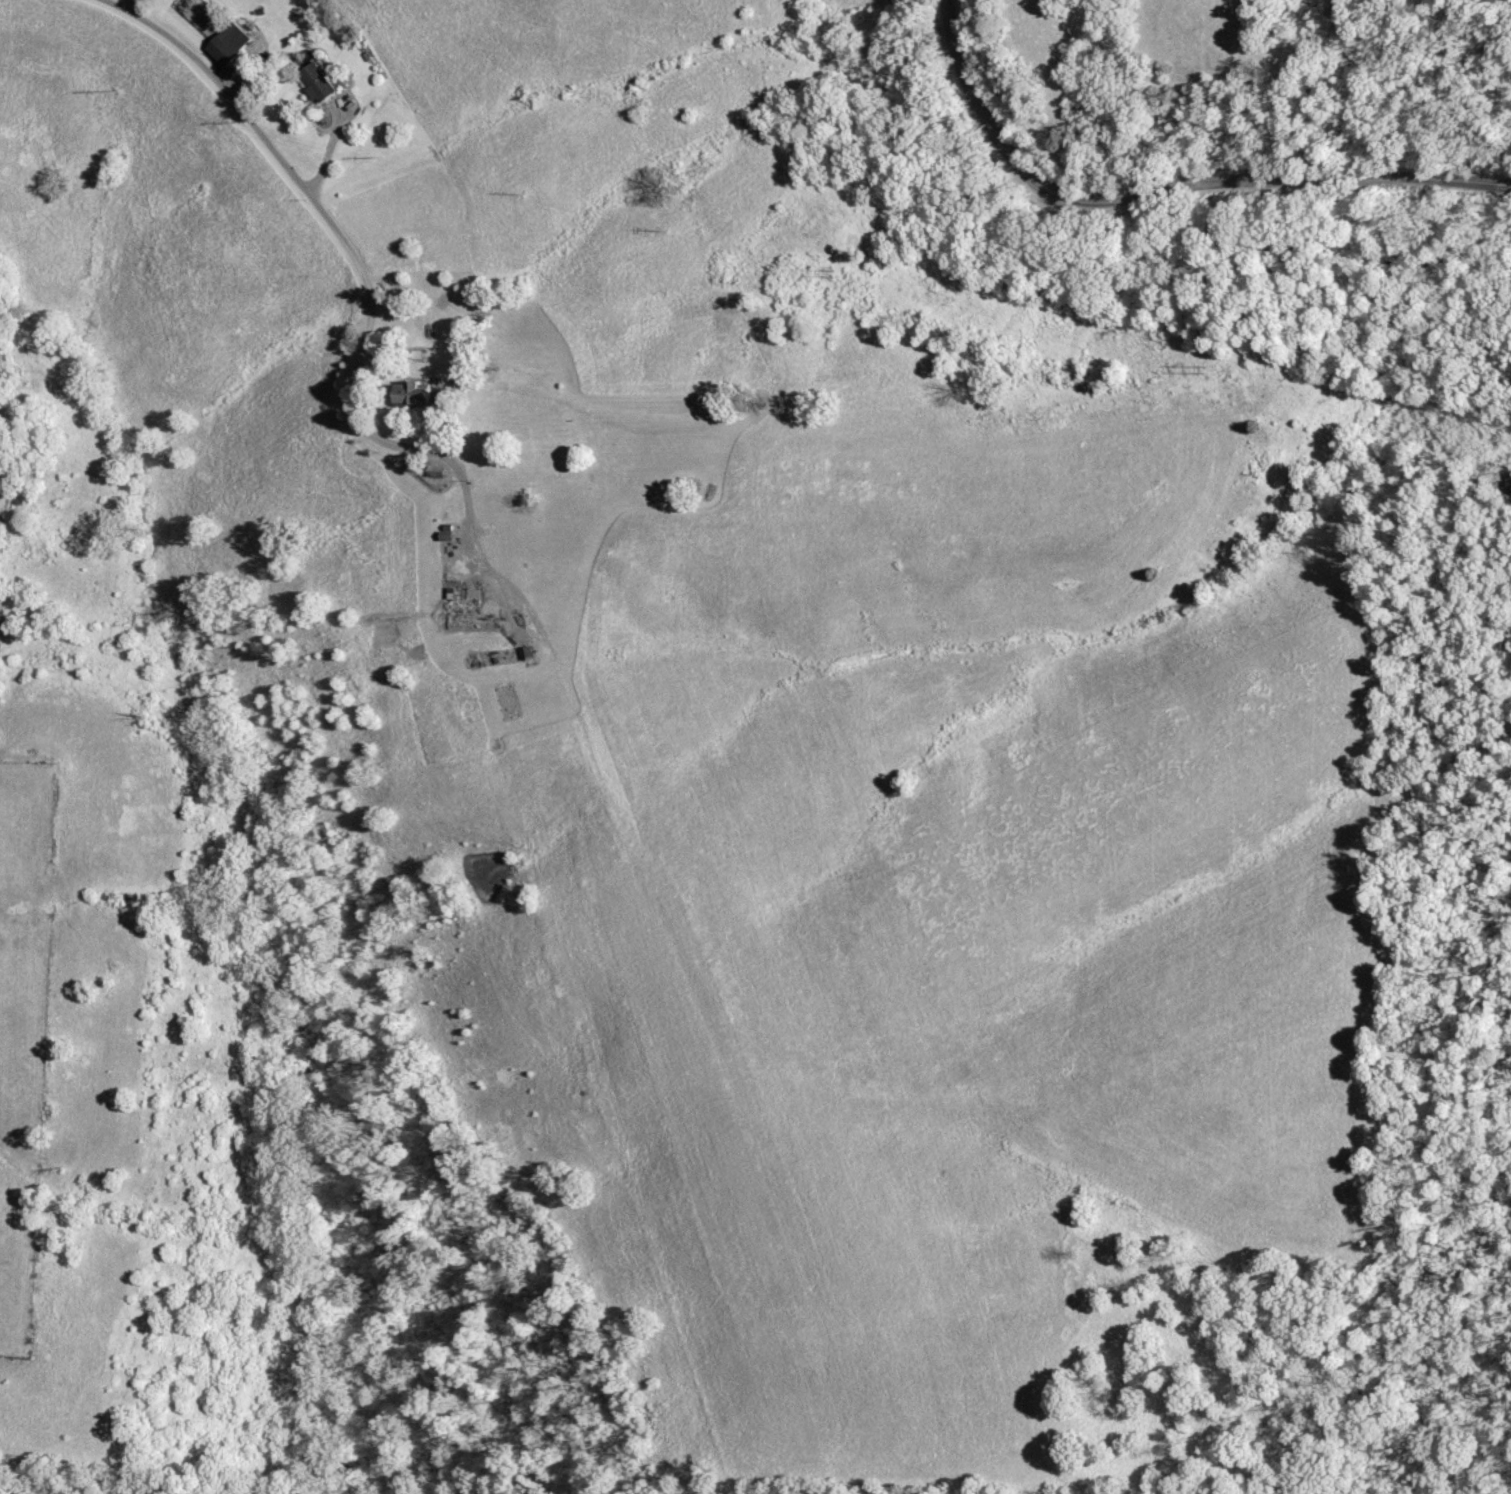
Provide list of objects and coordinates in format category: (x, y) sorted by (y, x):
building: (234, 43)
building: (323, 84)
road: (334, 147)
road: (1167, 190)
road: (355, 256)
building: (420, 393)

